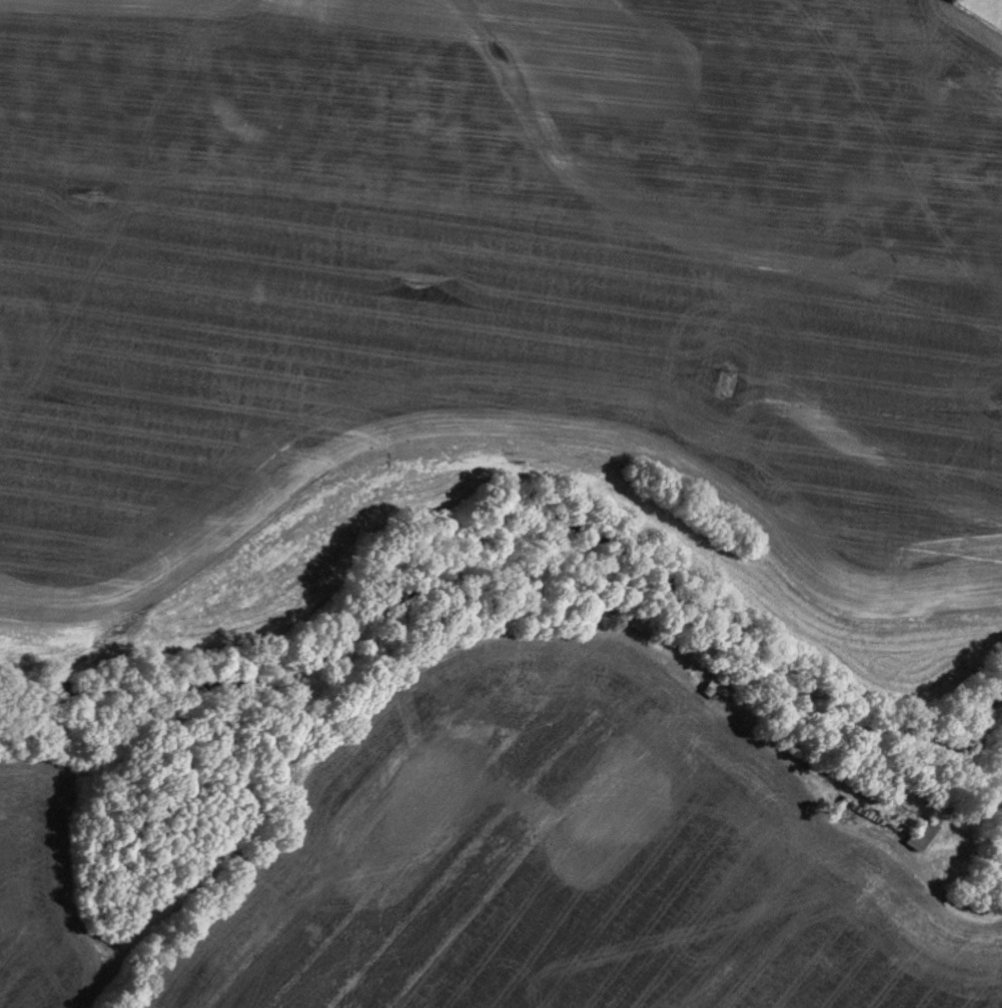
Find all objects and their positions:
building: (711, 689)
road: (915, 870)

